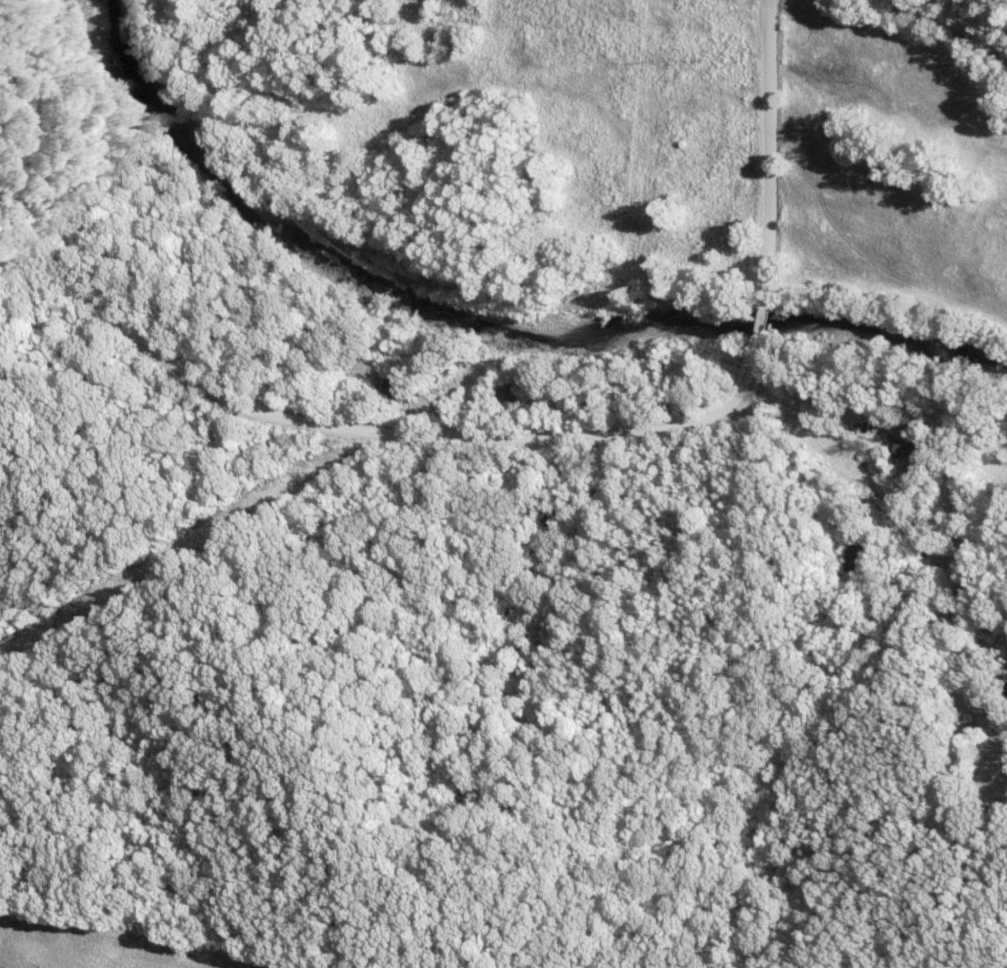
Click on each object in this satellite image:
road: (943, 22)
road: (770, 211)
river: (480, 318)
building: (397, 391)
road: (808, 414)
road: (339, 430)
road: (0, 967)

